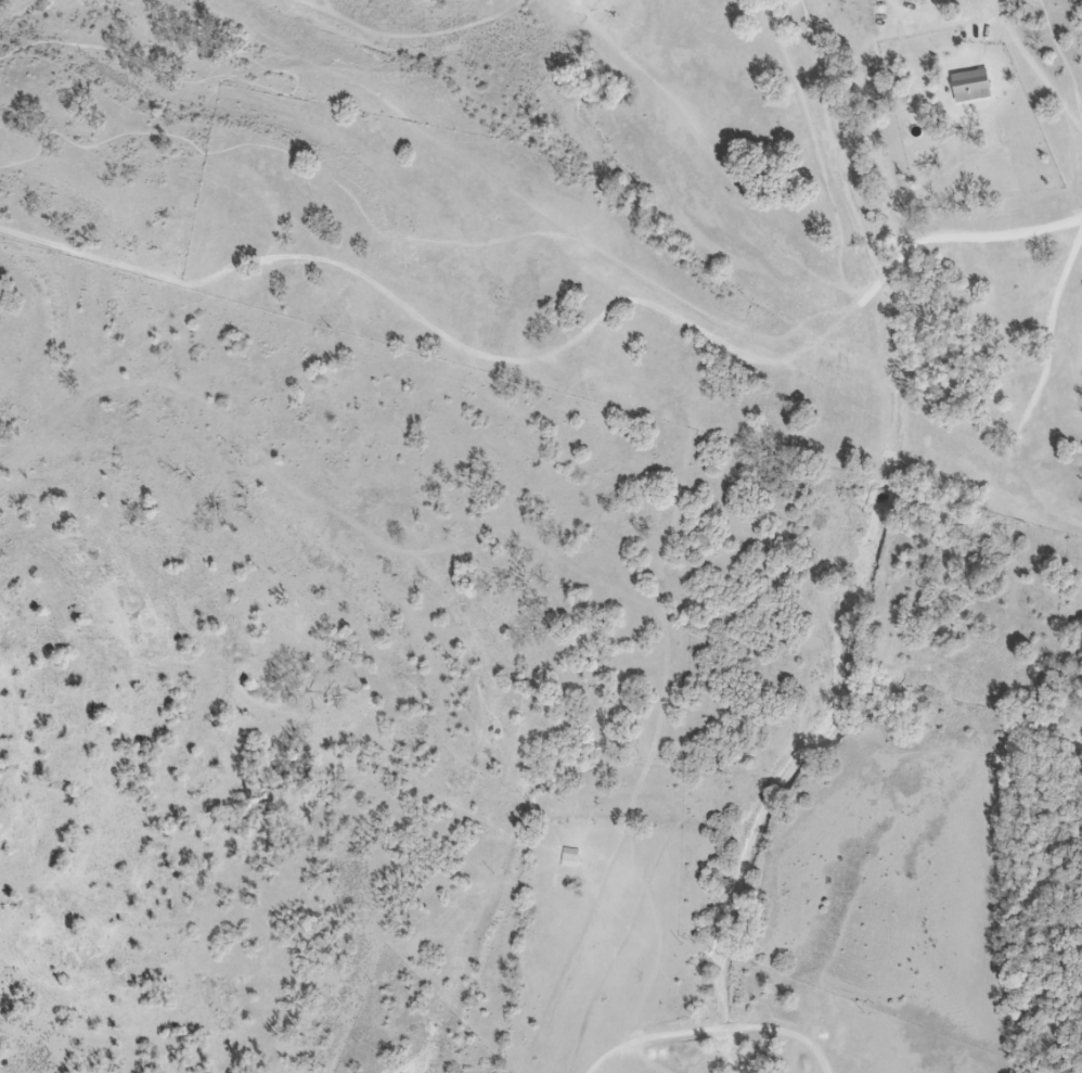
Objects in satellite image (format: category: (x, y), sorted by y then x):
road: (1066, 62)
road: (1034, 65)
road: (226, 78)
building: (983, 89)
road: (811, 146)
road: (712, 154)
road: (428, 239)
road: (411, 310)
road: (713, 1031)

